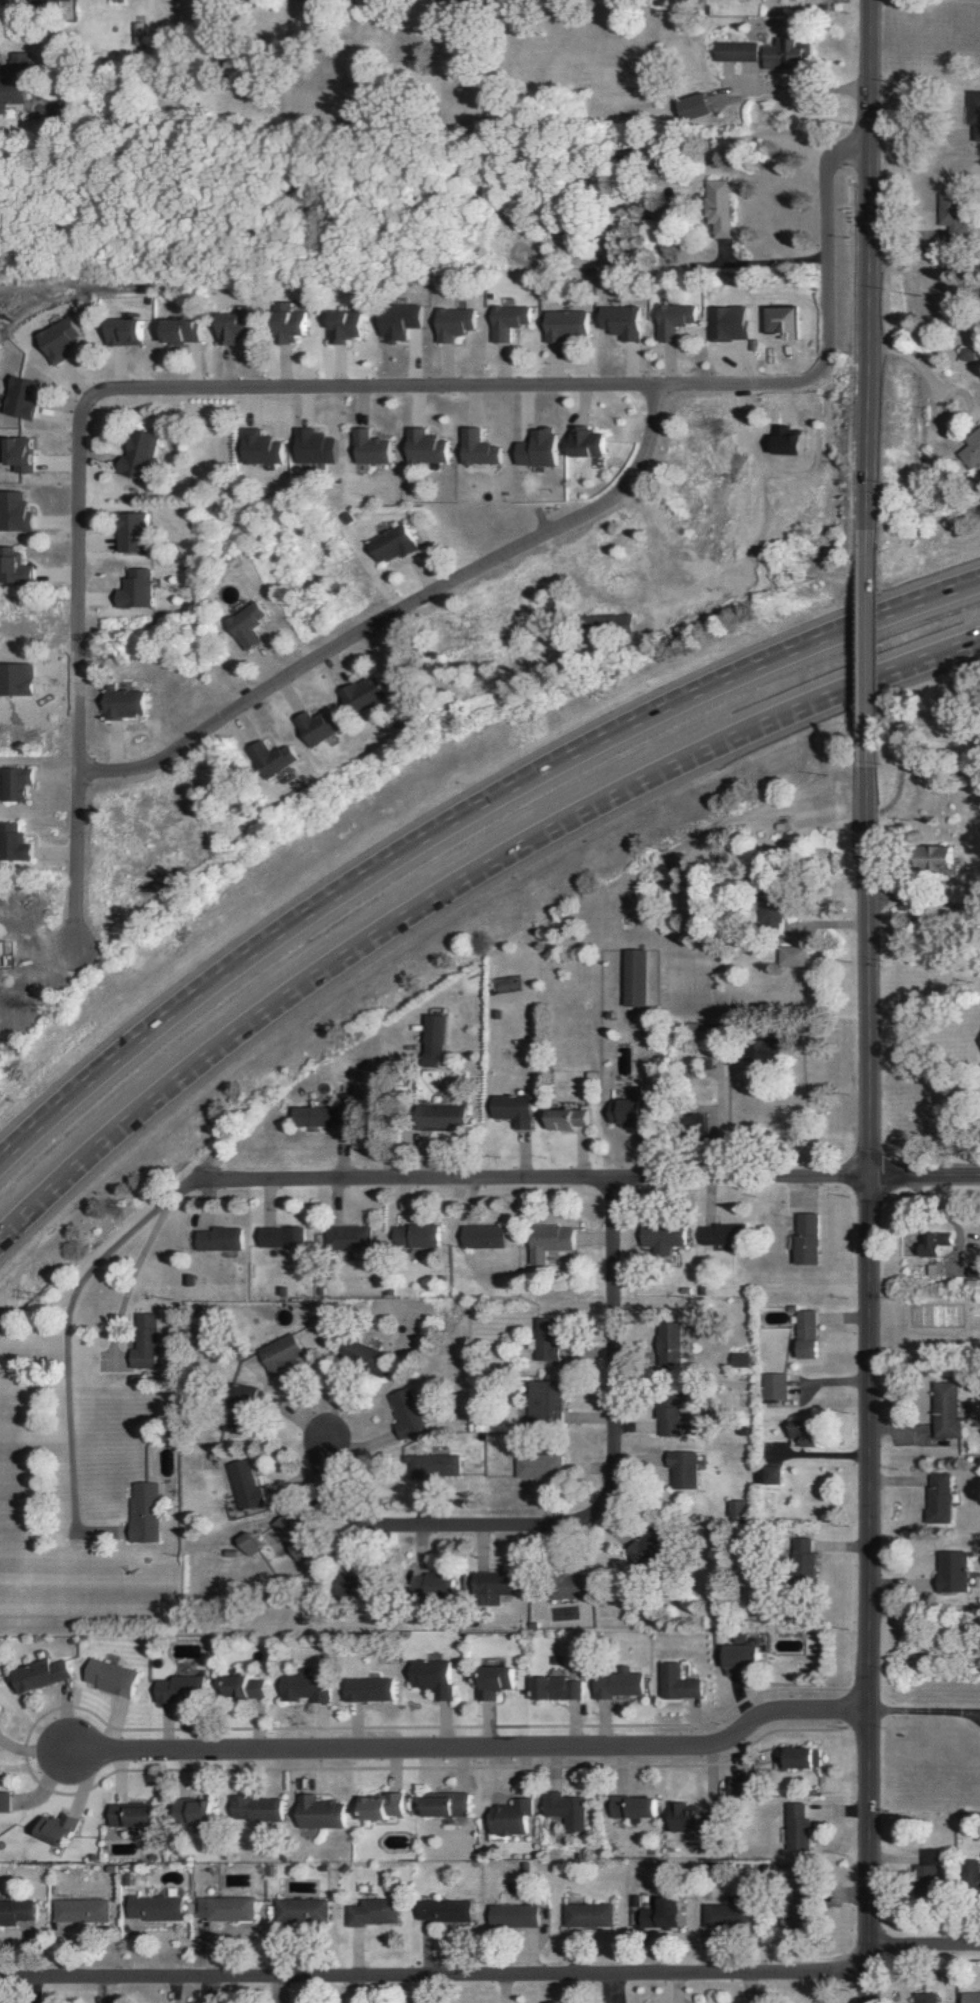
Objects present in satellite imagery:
building: (45, 1)
building: (734, 51)
building: (785, 54)
building: (12, 78)
building: (694, 106)
building: (974, 114)
building: (716, 207)
building: (951, 217)
road: (769, 259)
road: (870, 265)
building: (670, 320)
building: (503, 321)
building: (618, 321)
building: (779, 321)
building: (287, 322)
building: (395, 322)
building: (727, 322)
building: (449, 323)
building: (562, 324)
building: (341, 326)
building: (232, 327)
building: (179, 330)
building: (124, 331)
building: (57, 339)
building: (963, 353)
road: (920, 372)
road: (587, 387)
building: (21, 396)
building: (787, 440)
building: (585, 442)
building: (259, 447)
building: (313, 447)
building: (423, 447)
building: (368, 448)
building: (476, 448)
building: (536, 448)
building: (970, 450)
building: (20, 454)
building: (139, 454)
building: (14, 512)
building: (130, 532)
building: (392, 543)
building: (13, 567)
building: (134, 589)
road: (395, 609)
building: (607, 621)
building: (246, 625)
road: (868, 646)
road: (73, 669)
building: (16, 679)
building: (361, 693)
building: (124, 703)
building: (315, 727)
building: (270, 758)
building: (14, 783)
road: (458, 820)
building: (13, 843)
building: (942, 856)
road: (455, 884)
building: (774, 917)
building: (795, 955)
building: (635, 977)
building: (434, 1041)
building: (771, 1052)
building: (631, 1108)
building: (518, 1110)
building: (323, 1115)
building: (443, 1117)
building: (570, 1118)
road: (719, 1121)
road: (926, 1172)
road: (535, 1178)
road: (183, 1190)
building: (722, 1234)
building: (420, 1235)
building: (286, 1236)
building: (487, 1236)
building: (352, 1237)
building: (224, 1238)
building: (664, 1238)
building: (808, 1238)
building: (553, 1241)
building: (937, 1243)
building: (808, 1333)
building: (547, 1338)
building: (148, 1341)
building: (670, 1344)
road: (67, 1347)
building: (284, 1351)
building: (741, 1359)
road: (870, 1382)
building: (775, 1386)
building: (544, 1402)
building: (949, 1410)
building: (245, 1412)
building: (407, 1413)
building: (670, 1420)
building: (809, 1432)
building: (436, 1465)
building: (539, 1466)
building: (684, 1468)
building: (768, 1474)
building: (247, 1484)
building: (941, 1498)
road: (598, 1508)
building: (736, 1508)
building: (146, 1512)
building: (294, 1536)
building: (251, 1543)
building: (648, 1548)
building: (807, 1560)
building: (954, 1571)
building: (496, 1583)
building: (367, 1586)
building: (441, 1587)
building: (744, 1659)
building: (43, 1674)
building: (113, 1677)
building: (435, 1677)
building: (496, 1681)
building: (680, 1683)
building: (620, 1685)
building: (248, 1686)
building: (308, 1688)
building: (557, 1688)
building: (184, 1689)
building: (371, 1689)
building: (2, 1707)
road: (923, 1707)
building: (2, 1725)
road: (470, 1746)
building: (802, 1757)
building: (748, 1783)
building: (7, 1800)
building: (449, 1804)
building: (384, 1805)
building: (636, 1807)
building: (259, 1808)
building: (200, 1810)
building: (568, 1810)
building: (322, 1812)
building: (137, 1814)
building: (513, 1817)
building: (694, 1818)
building: (800, 1827)
building: (62, 1828)
building: (929, 1865)
building: (819, 1898)
building: (158, 1908)
building: (228, 1908)
building: (84, 1910)
building: (446, 1910)
building: (17, 1911)
building: (303, 1911)
building: (375, 1912)
building: (658, 1913)
building: (590, 1914)
building: (731, 1914)
building: (516, 1915)
building: (797, 1920)
road: (922, 1945)
road: (435, 1975)
building: (971, 1997)
building: (927, 1998)

